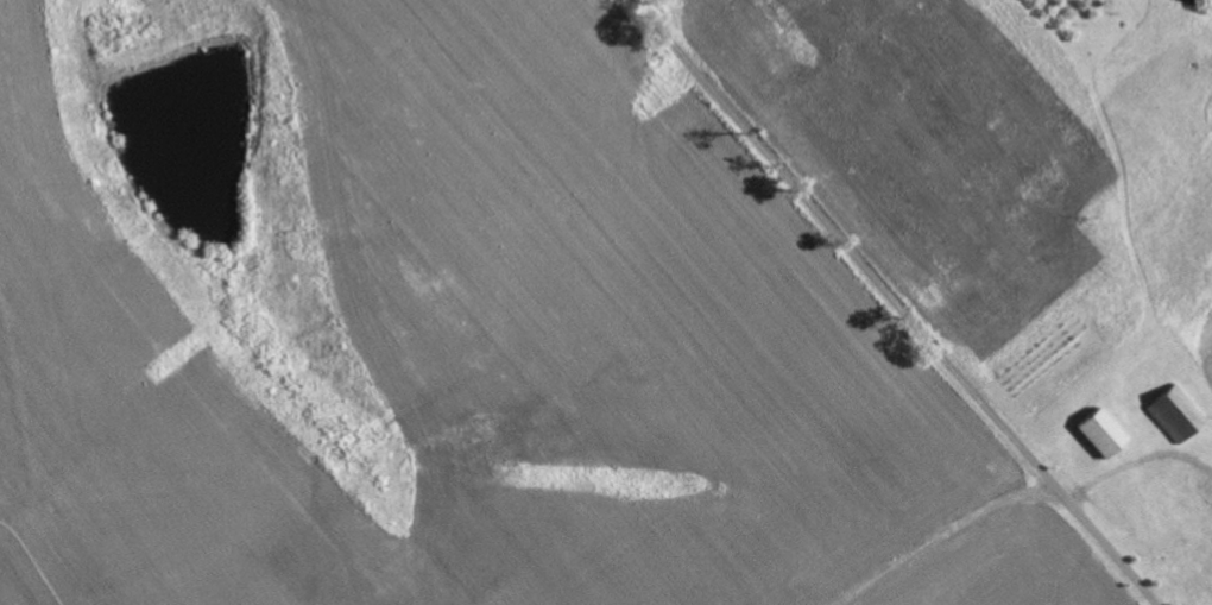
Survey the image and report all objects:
road: (894, 303)
road: (939, 537)

